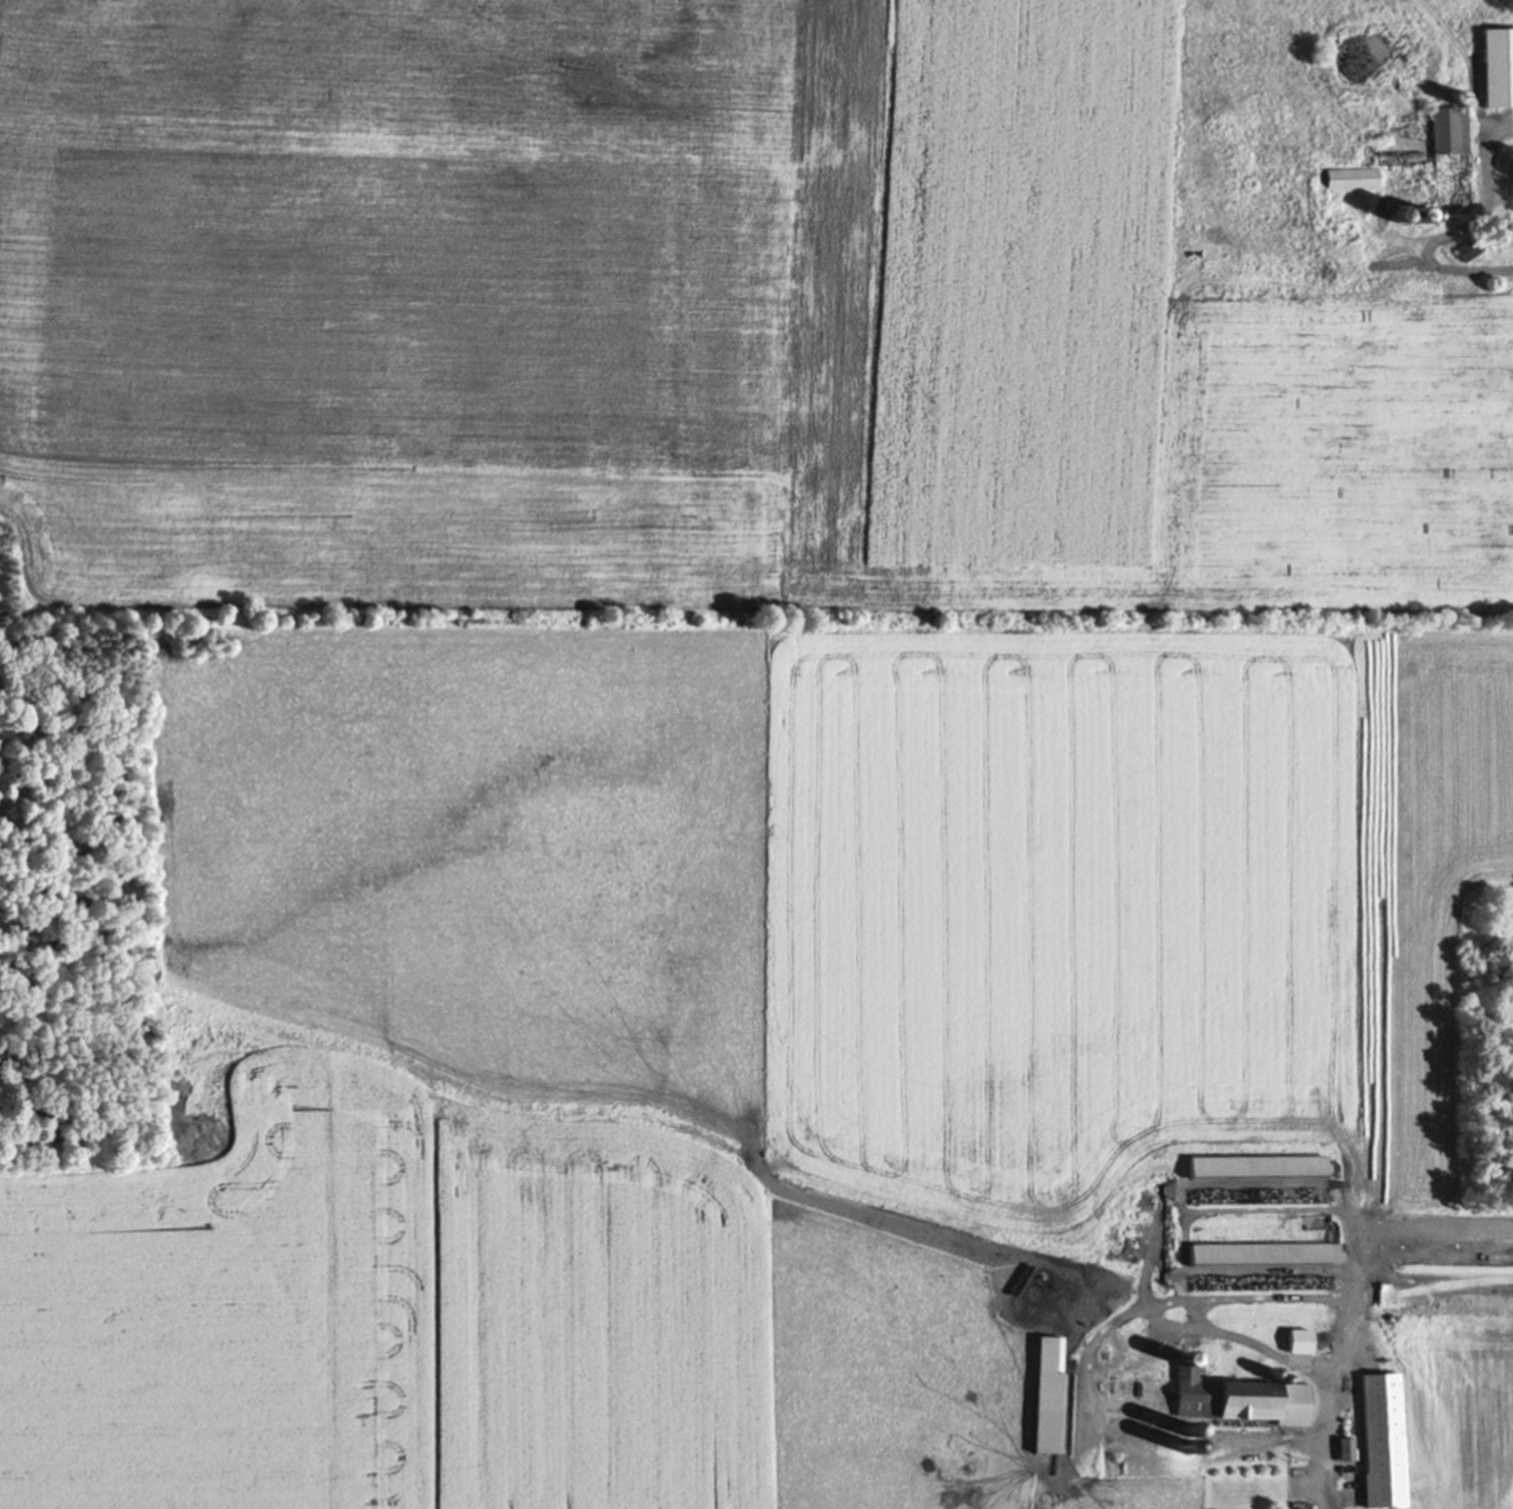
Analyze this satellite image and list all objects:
building: (1497, 70)
building: (1450, 163)
building: (1351, 180)
building: (1468, 253)
building: (1508, 1144)
building: (1256, 1170)
building: (1263, 1257)
building: (1298, 1344)
building: (1207, 1401)
building: (1047, 1415)
building: (1381, 1442)

